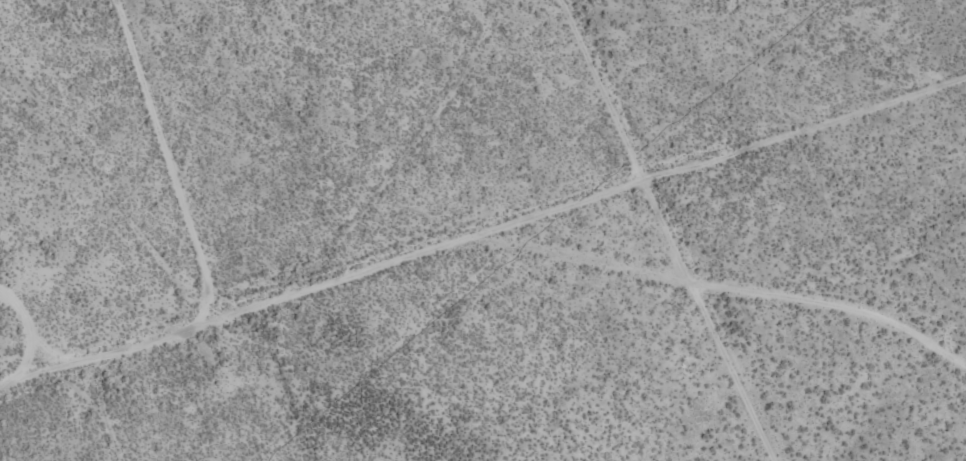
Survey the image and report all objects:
road: (605, 230)
road: (477, 306)
road: (68, 427)

